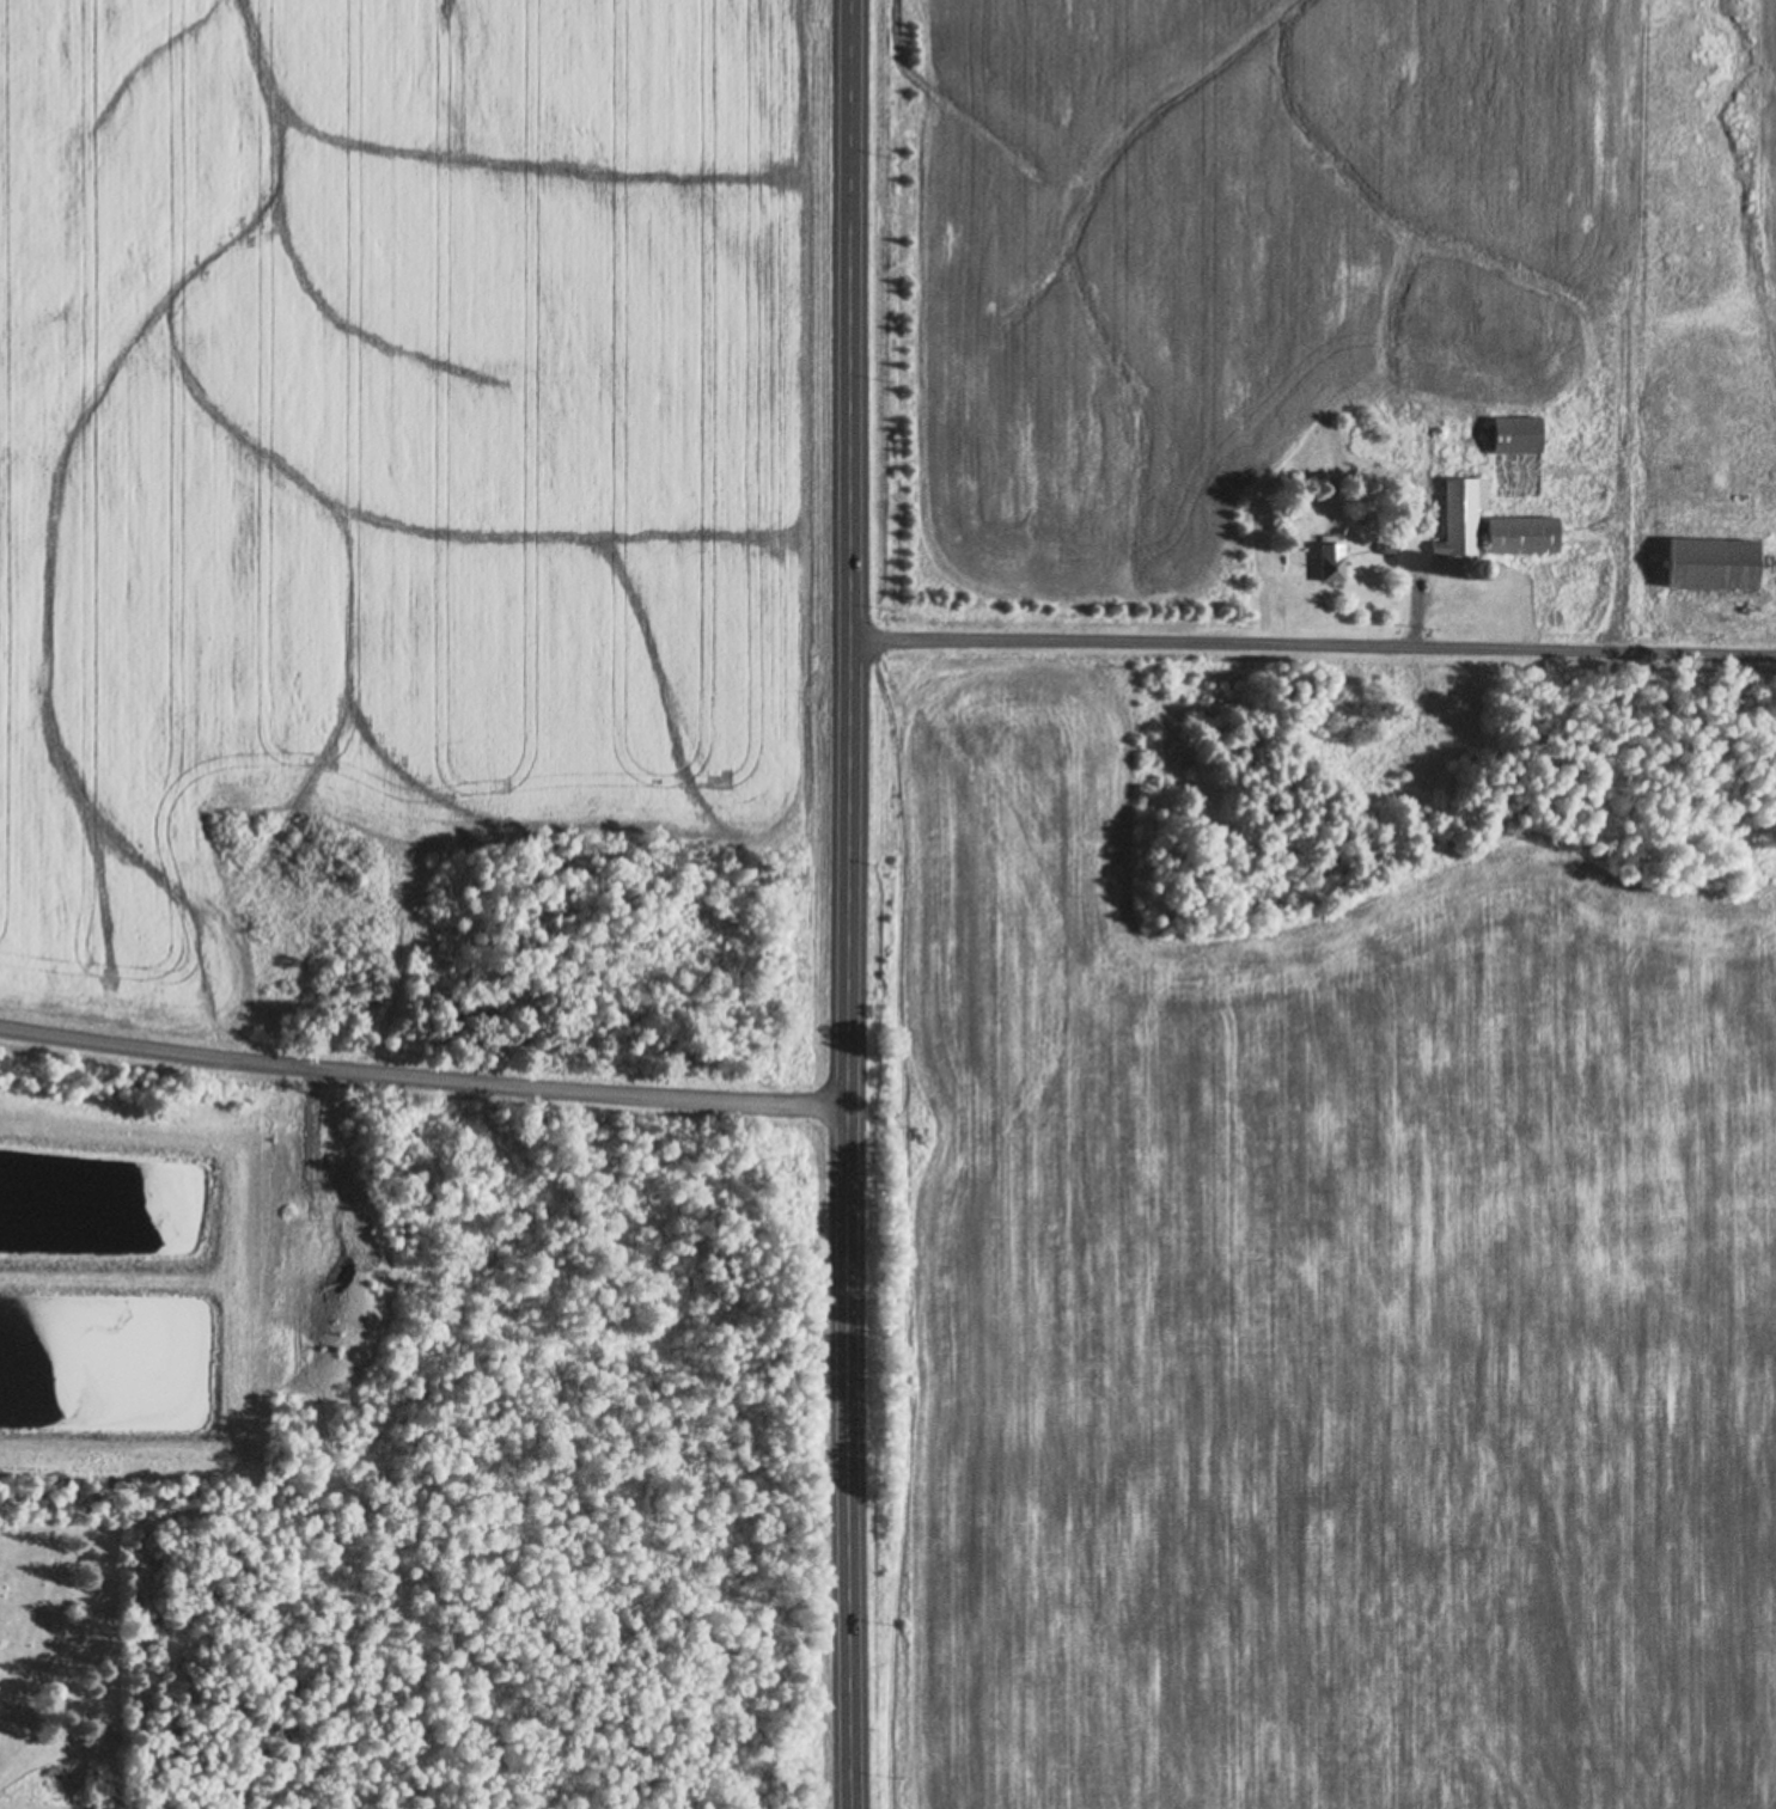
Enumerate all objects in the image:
building: (1519, 432)
building: (1463, 513)
building: (1524, 532)
building: (1390, 546)
building: (1333, 560)
building: (1715, 561)
building: (1477, 567)
building: (1580, 618)
road: (1313, 648)
road: (847, 904)
building: (368, 996)
building: (466, 1007)
road: (420, 1082)
park: (513, 1471)
park: (65, 1666)

